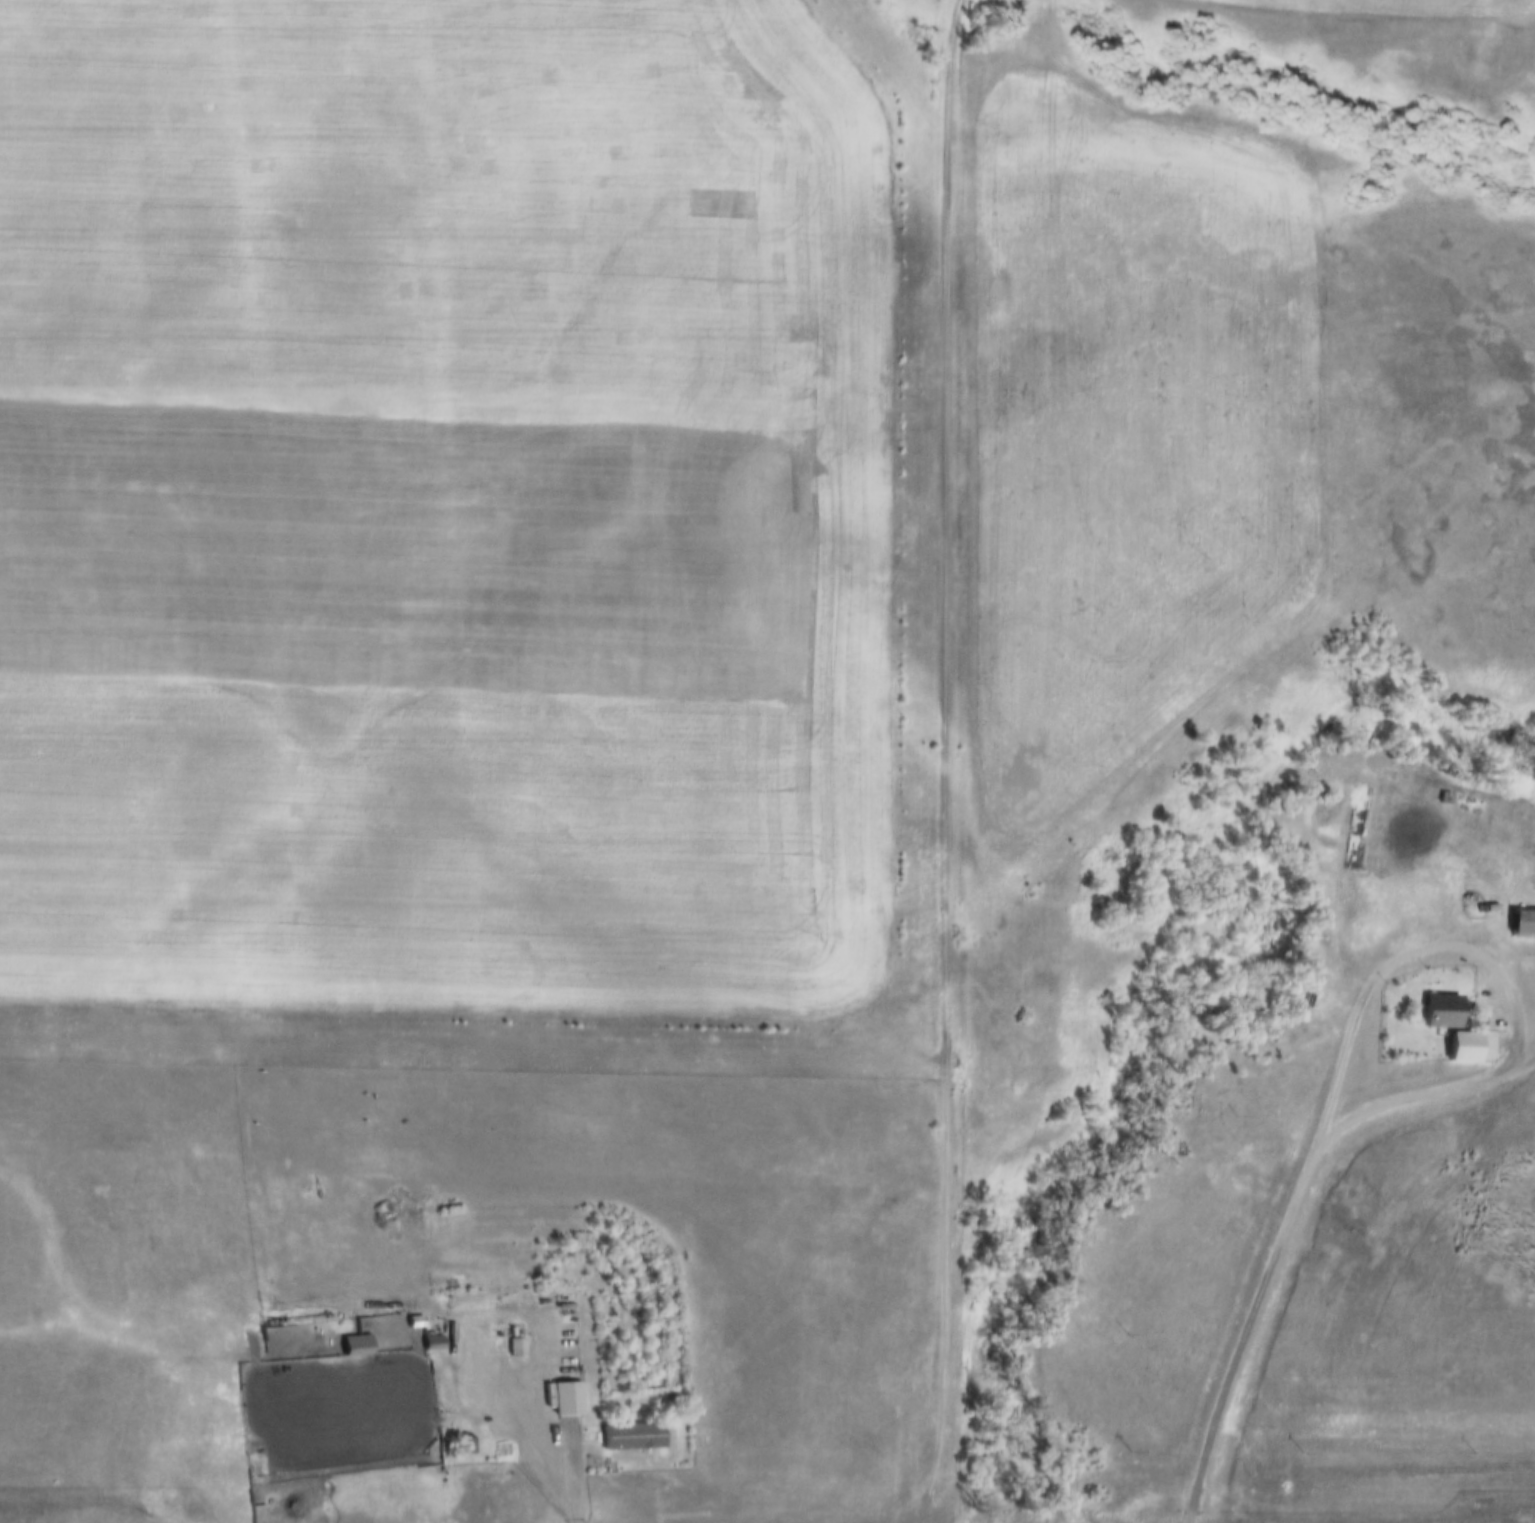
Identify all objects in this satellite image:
road: (944, 761)
building: (1525, 924)
road: (1498, 973)
building: (1446, 1012)
road: (1248, 1331)
building: (430, 1342)
building: (358, 1345)
building: (518, 1348)
road: (544, 1416)
building: (467, 1435)
building: (632, 1442)

